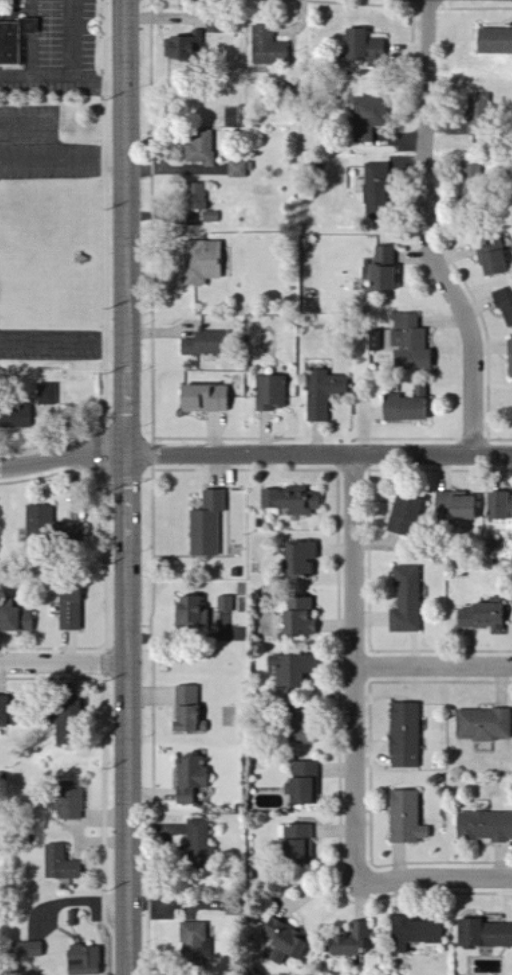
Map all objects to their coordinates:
building: (12, 41)
building: (494, 42)
building: (363, 46)
building: (184, 48)
building: (267, 48)
road: (16, 74)
road: (53, 75)
road: (100, 85)
building: (478, 107)
building: (366, 119)
road: (44, 124)
building: (201, 148)
road: (64, 160)
road: (129, 168)
building: (470, 168)
building: (239, 169)
building: (375, 190)
building: (196, 196)
building: (202, 217)
road: (432, 231)
building: (384, 255)
building: (490, 258)
building: (202, 261)
building: (380, 277)
building: (504, 305)
road: (64, 336)
building: (409, 342)
building: (204, 344)
building: (509, 357)
building: (271, 393)
building: (323, 393)
building: (47, 394)
building: (202, 398)
building: (404, 408)
building: (15, 418)
road: (129, 447)
road: (255, 454)
road: (109, 488)
building: (291, 500)
building: (453, 505)
building: (496, 506)
building: (402, 515)
building: (207, 524)
building: (51, 525)
building: (297, 558)
building: (407, 600)
building: (226, 604)
building: (70, 611)
building: (191, 612)
building: (482, 616)
building: (299, 617)
building: (16, 620)
road: (184, 636)
road: (64, 665)
road: (434, 666)
road: (357, 668)
building: (292, 669)
building: (3, 711)
building: (187, 711)
building: (63, 718)
building: (483, 725)
building: (298, 730)
building: (404, 735)
road: (128, 765)
building: (190, 778)
building: (304, 783)
building: (69, 801)
building: (405, 818)
building: (484, 826)
building: (198, 837)
building: (298, 844)
building: (60, 864)
road: (434, 878)
building: (413, 933)
building: (484, 934)
building: (283, 938)
building: (195, 941)
building: (351, 941)
building: (28, 950)
building: (276, 957)
building: (83, 960)

